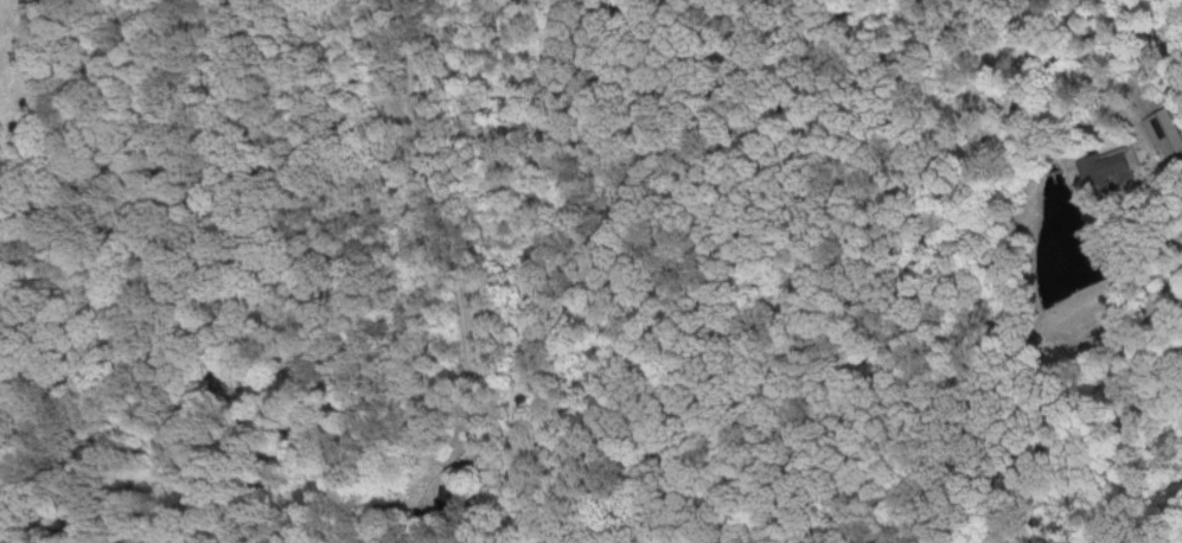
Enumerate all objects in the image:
road: (1072, 23)
building: (1162, 130)
building: (1100, 166)
road: (454, 269)

